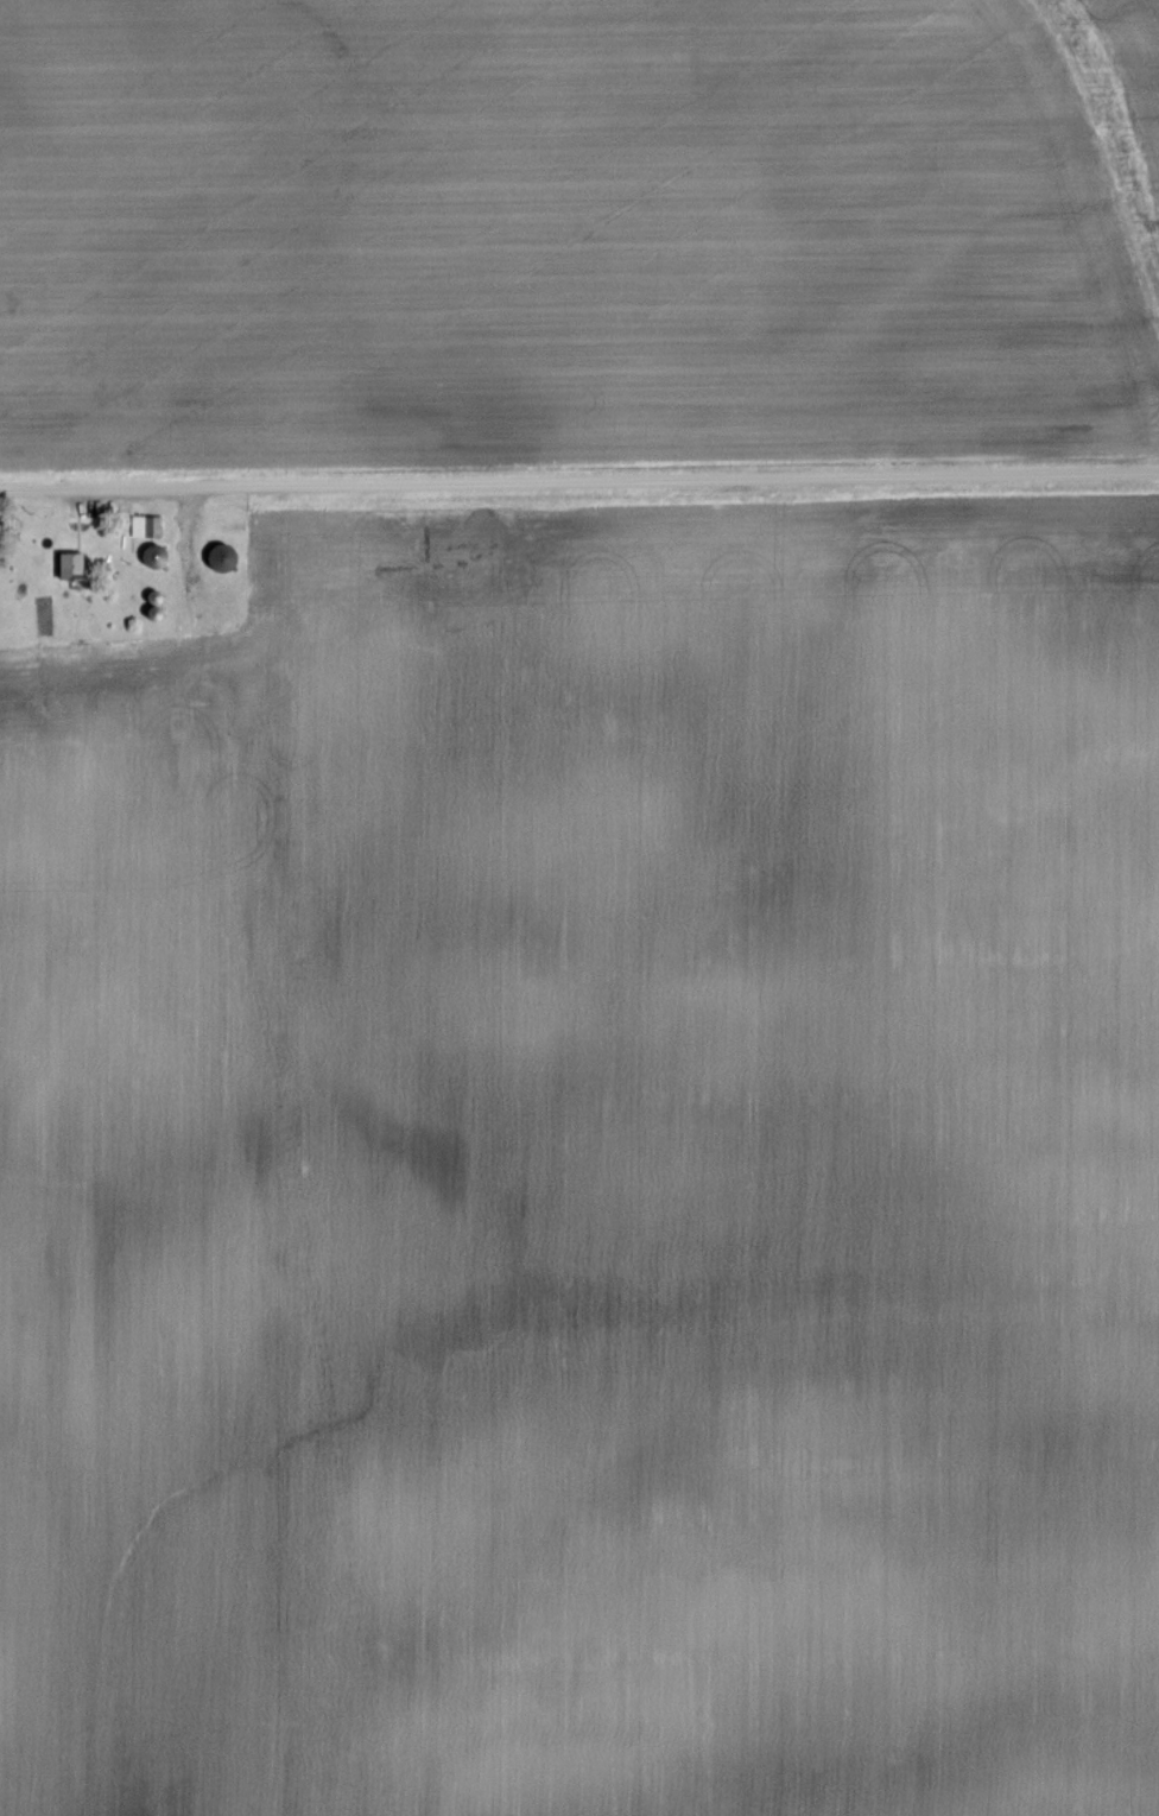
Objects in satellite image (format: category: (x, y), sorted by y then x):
crop: (1136, 57)
crop: (555, 236)
road: (579, 483)
crop: (590, 1173)

